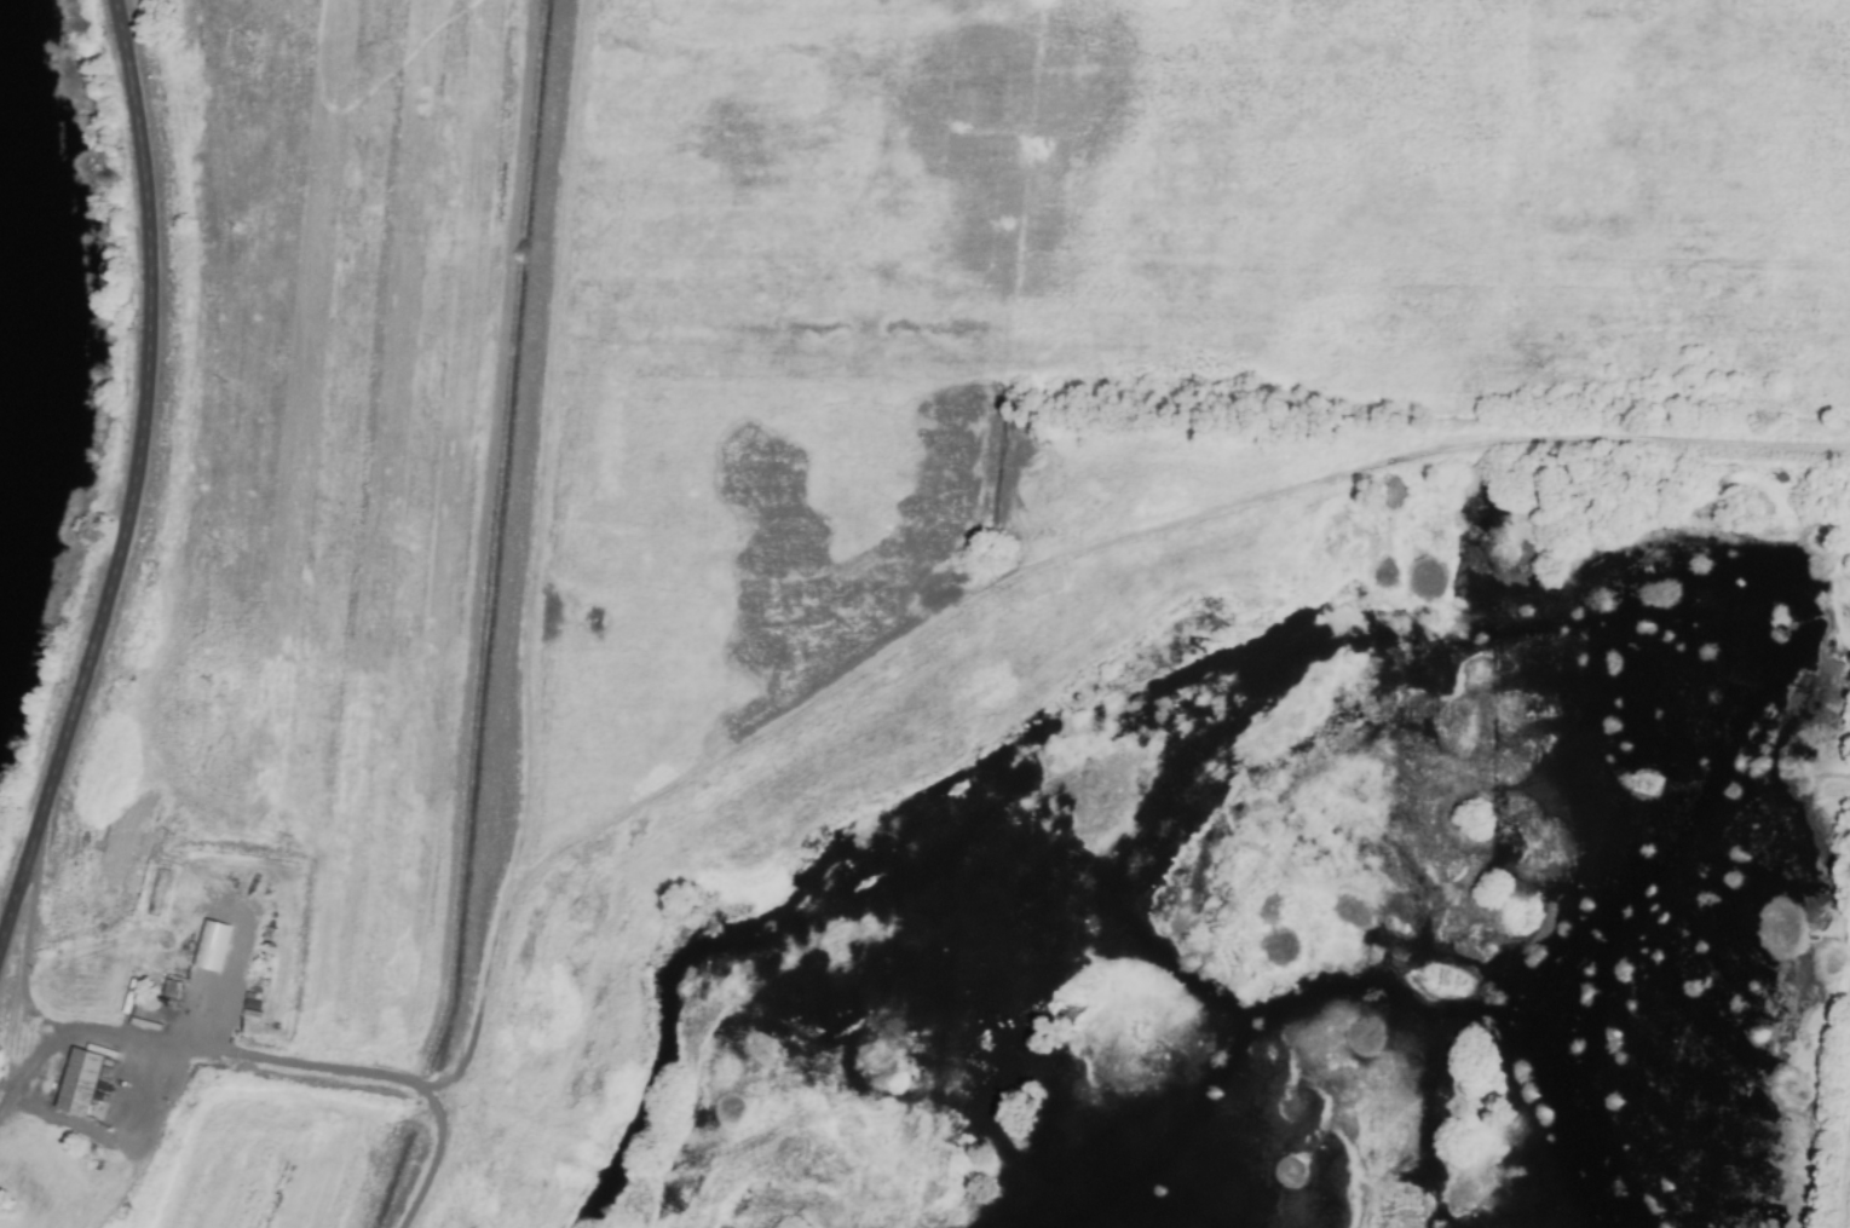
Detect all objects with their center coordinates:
crop: (763, 400)
road: (132, 478)
building: (211, 946)
road: (22, 978)
building: (77, 1083)

